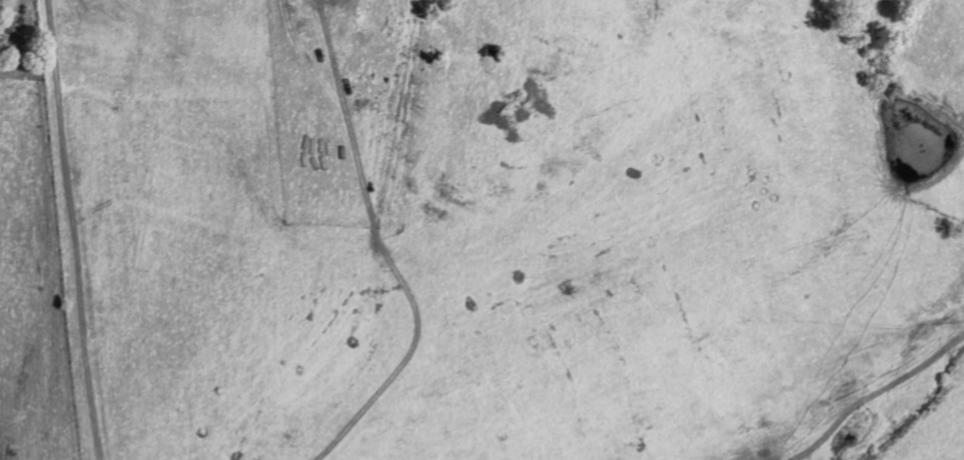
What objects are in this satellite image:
road: (75, 229)
road: (380, 248)
road: (881, 406)

